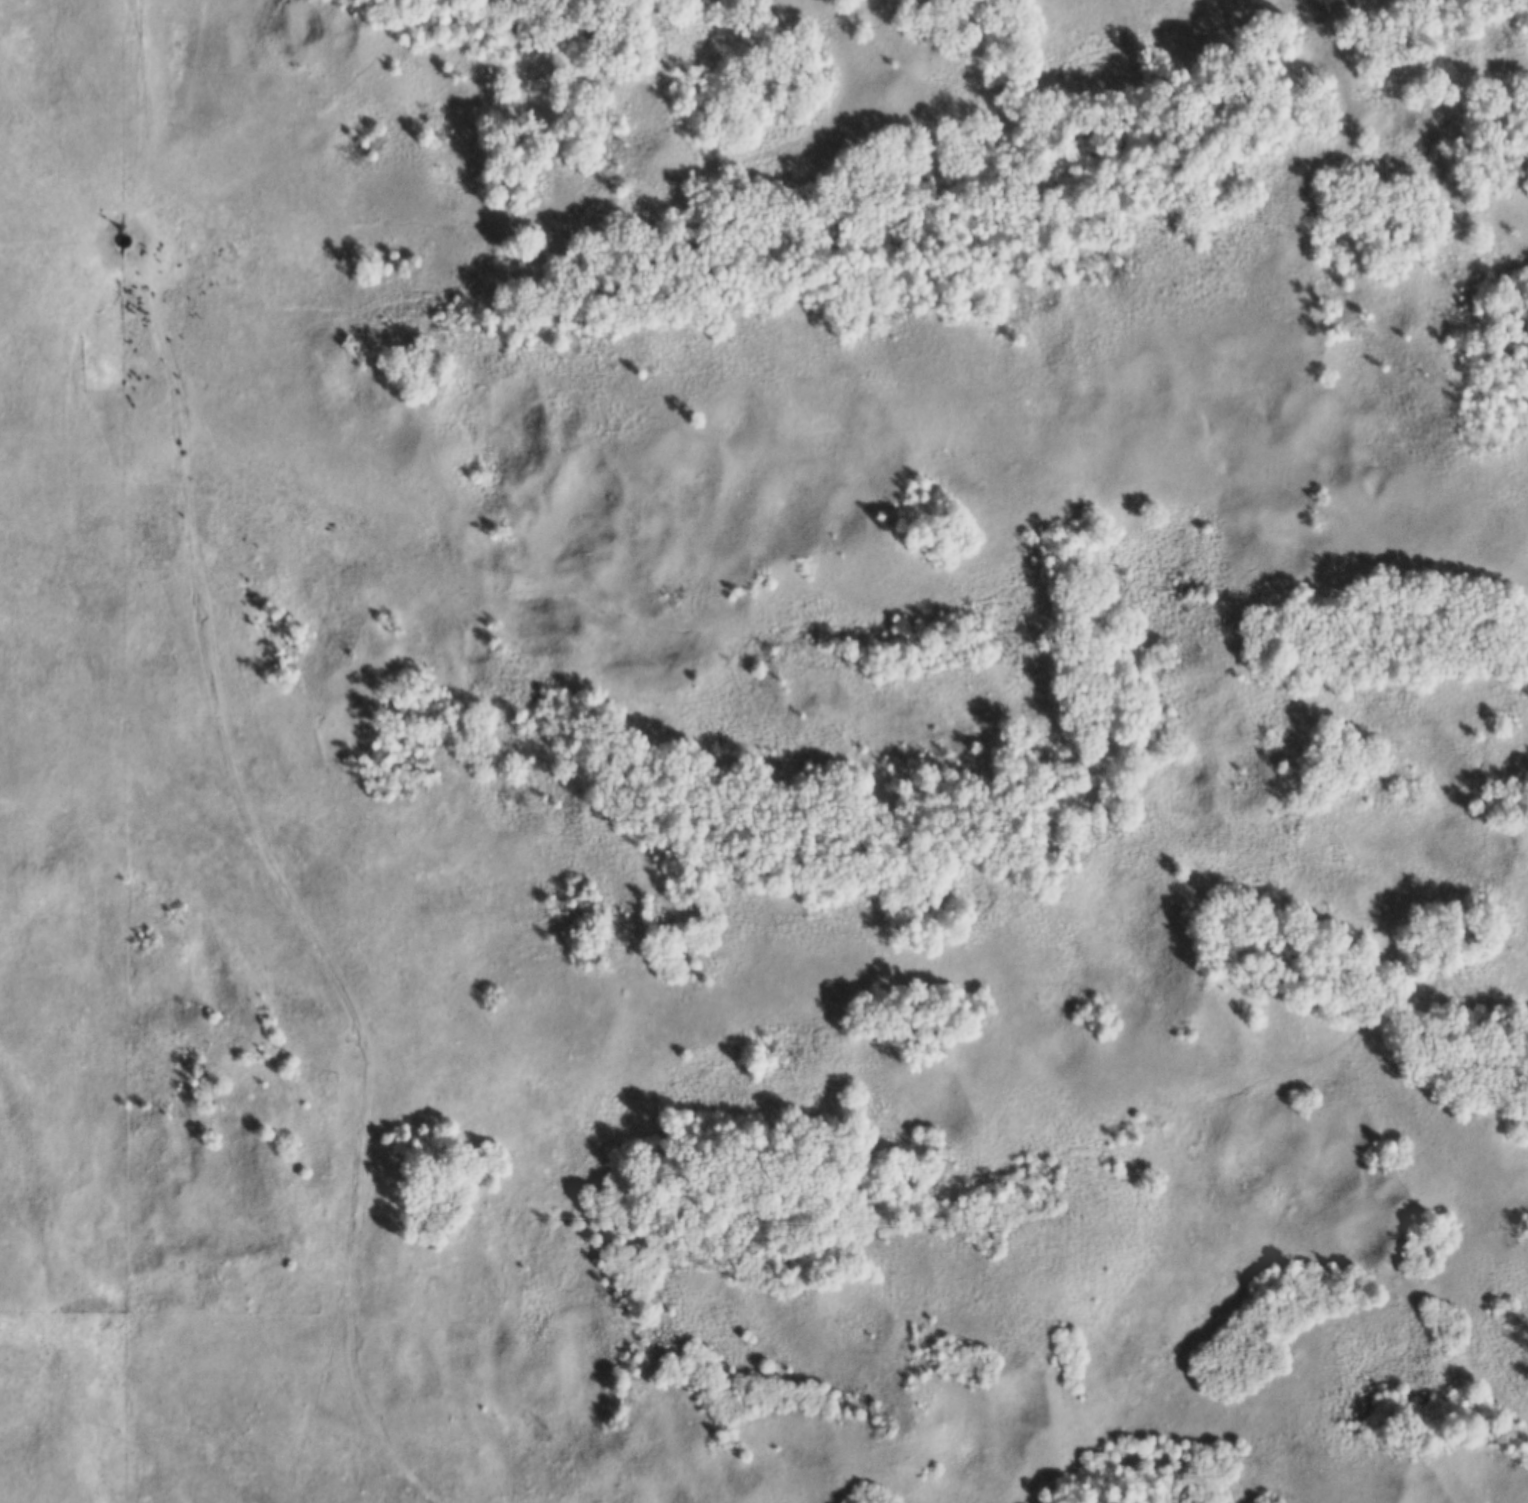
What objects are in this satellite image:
road: (232, 774)

